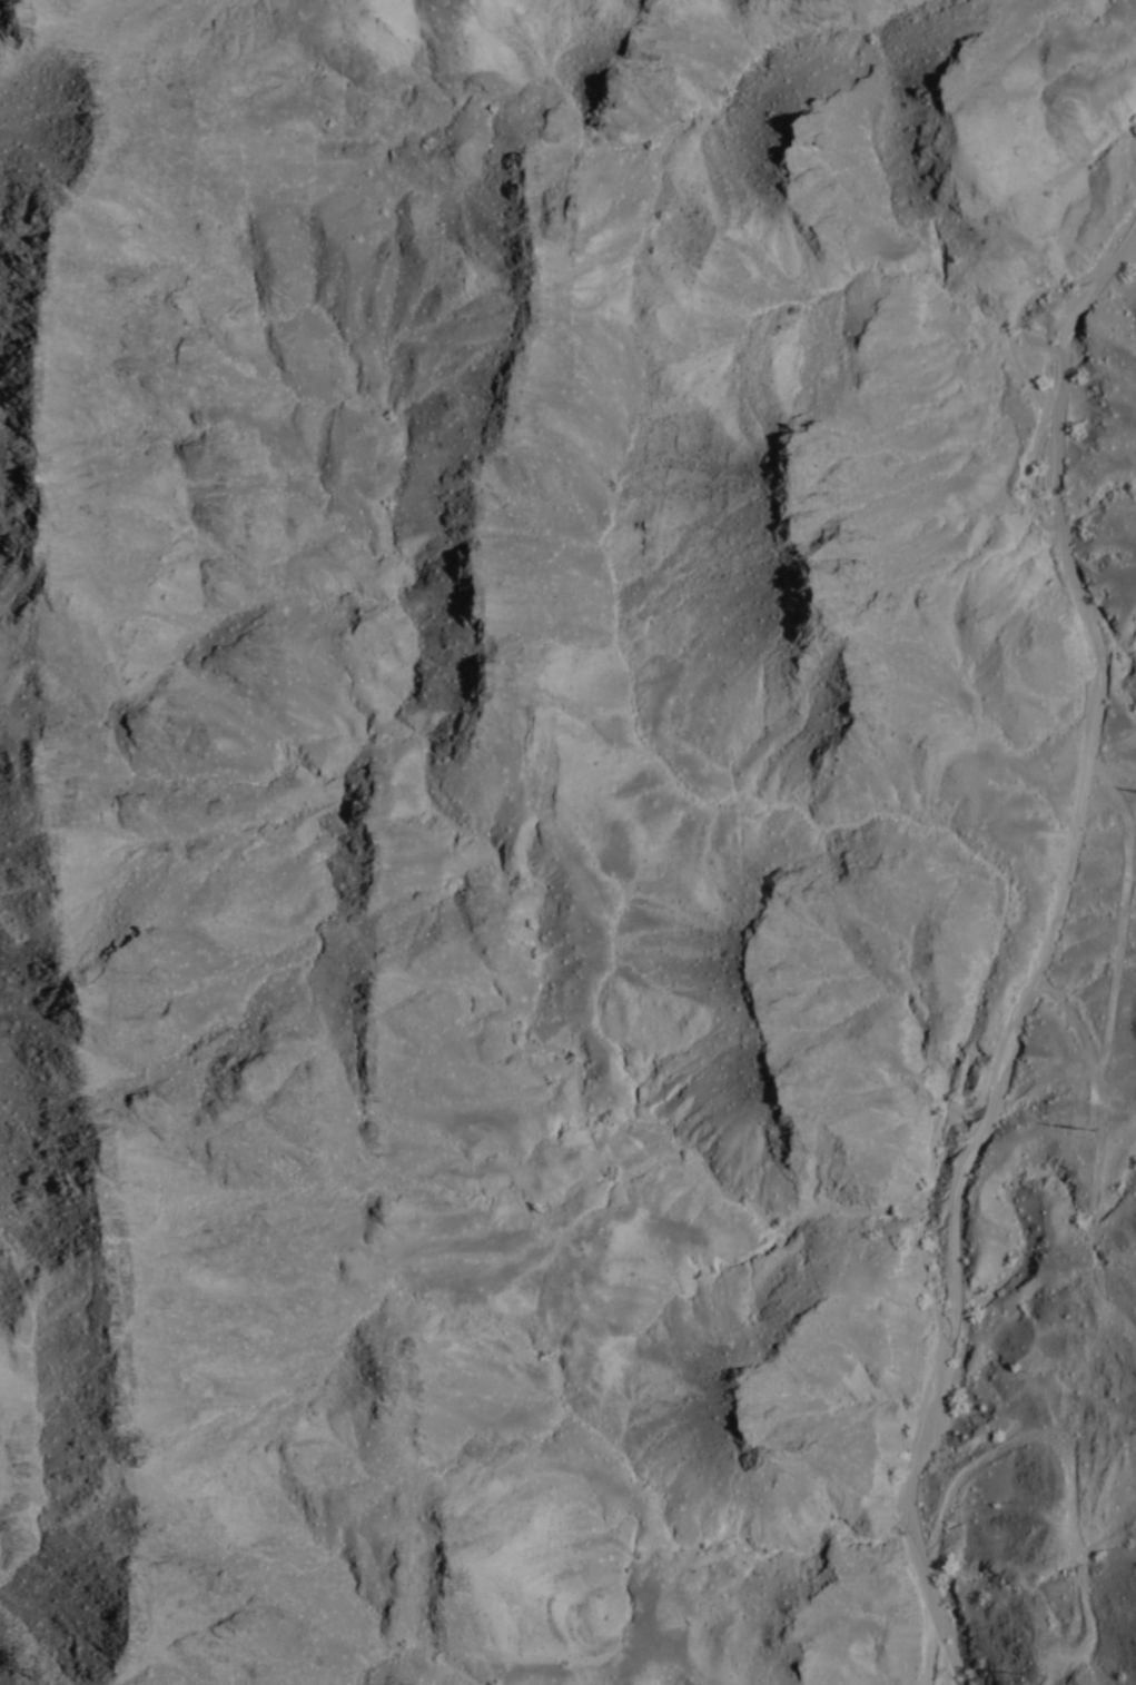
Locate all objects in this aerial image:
power tower: (1086, 1127)
power tower: (1038, 1681)

